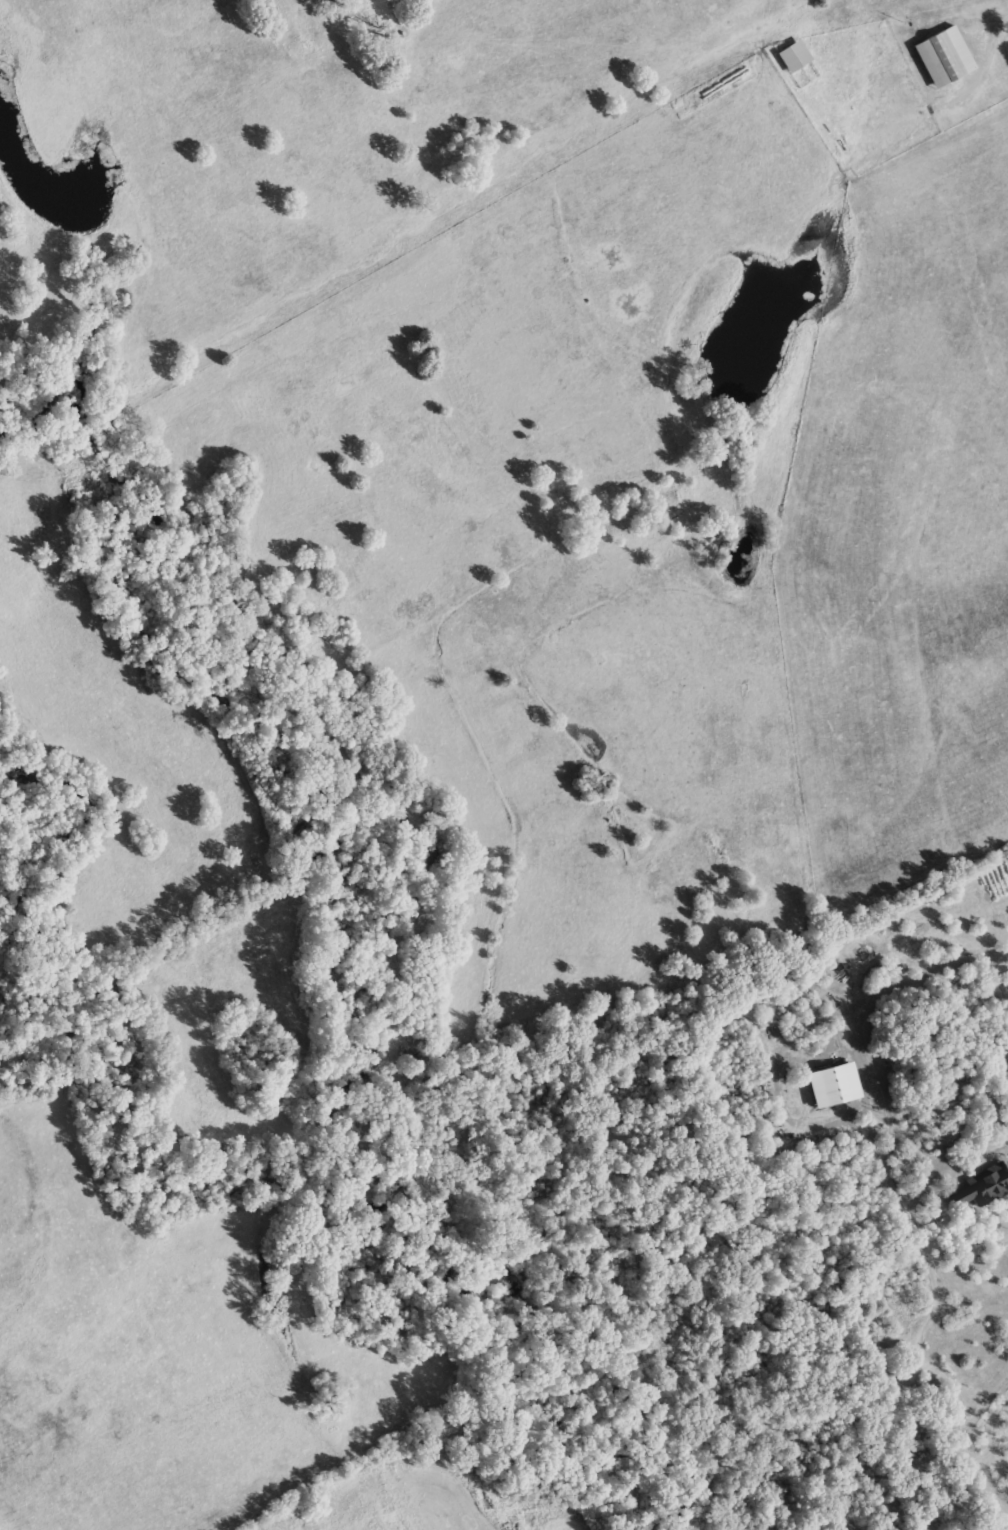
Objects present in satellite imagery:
building: (791, 56)
building: (942, 57)
road: (919, 973)
building: (830, 1085)
building: (980, 1187)

